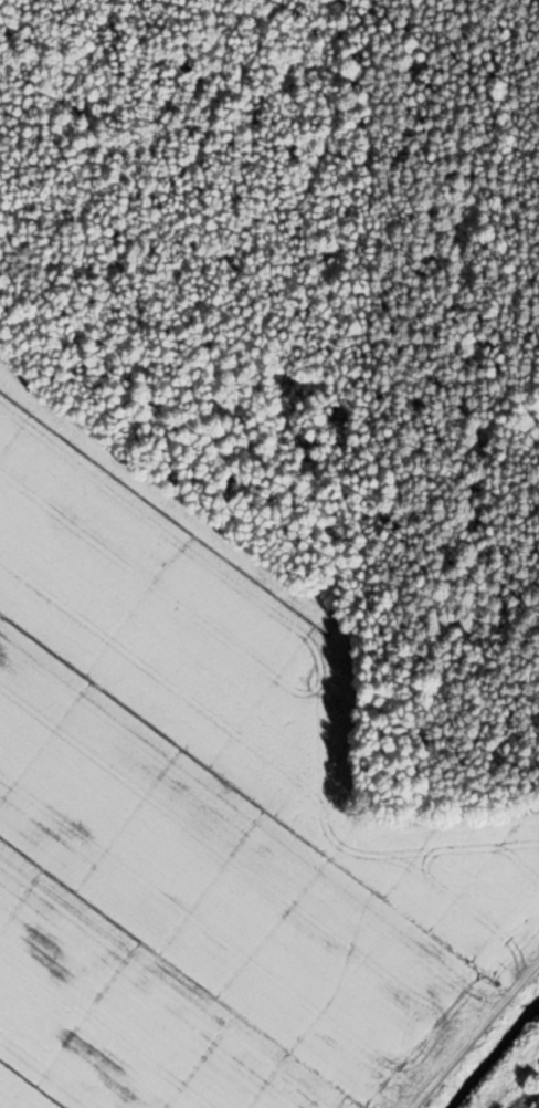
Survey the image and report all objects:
road: (472, 1031)

